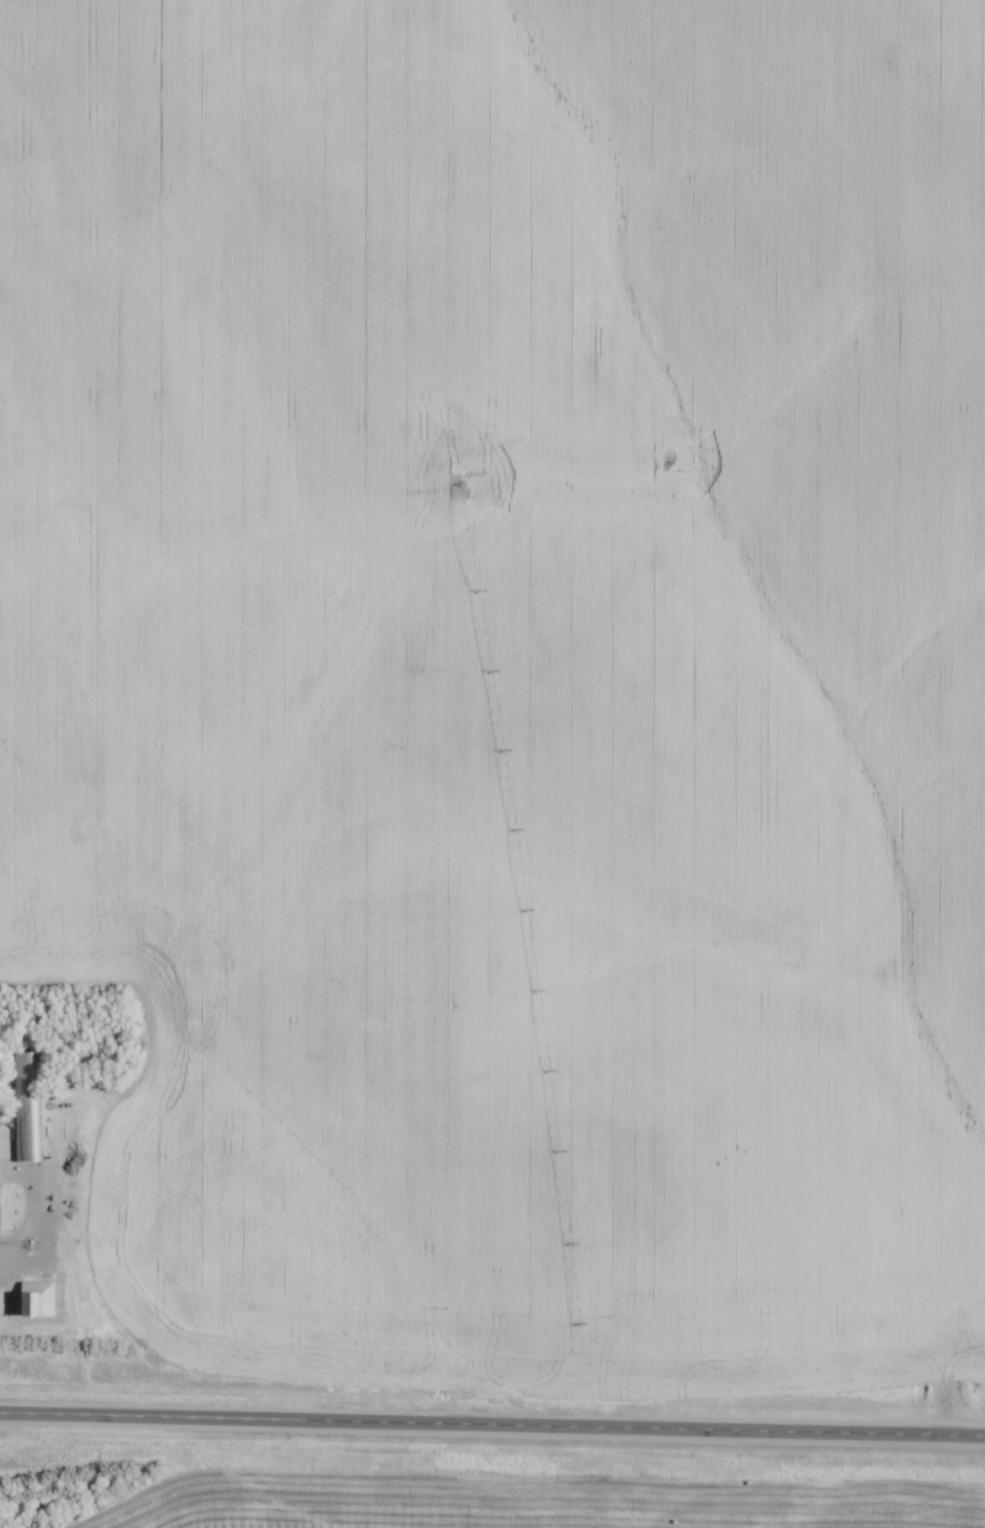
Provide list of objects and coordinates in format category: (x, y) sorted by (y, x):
building: (25, 1110)
building: (88, 1121)
building: (86, 1147)
building: (79, 1175)
building: (121, 1187)
building: (0, 1191)
building: (40, 1299)
road: (492, 1430)

